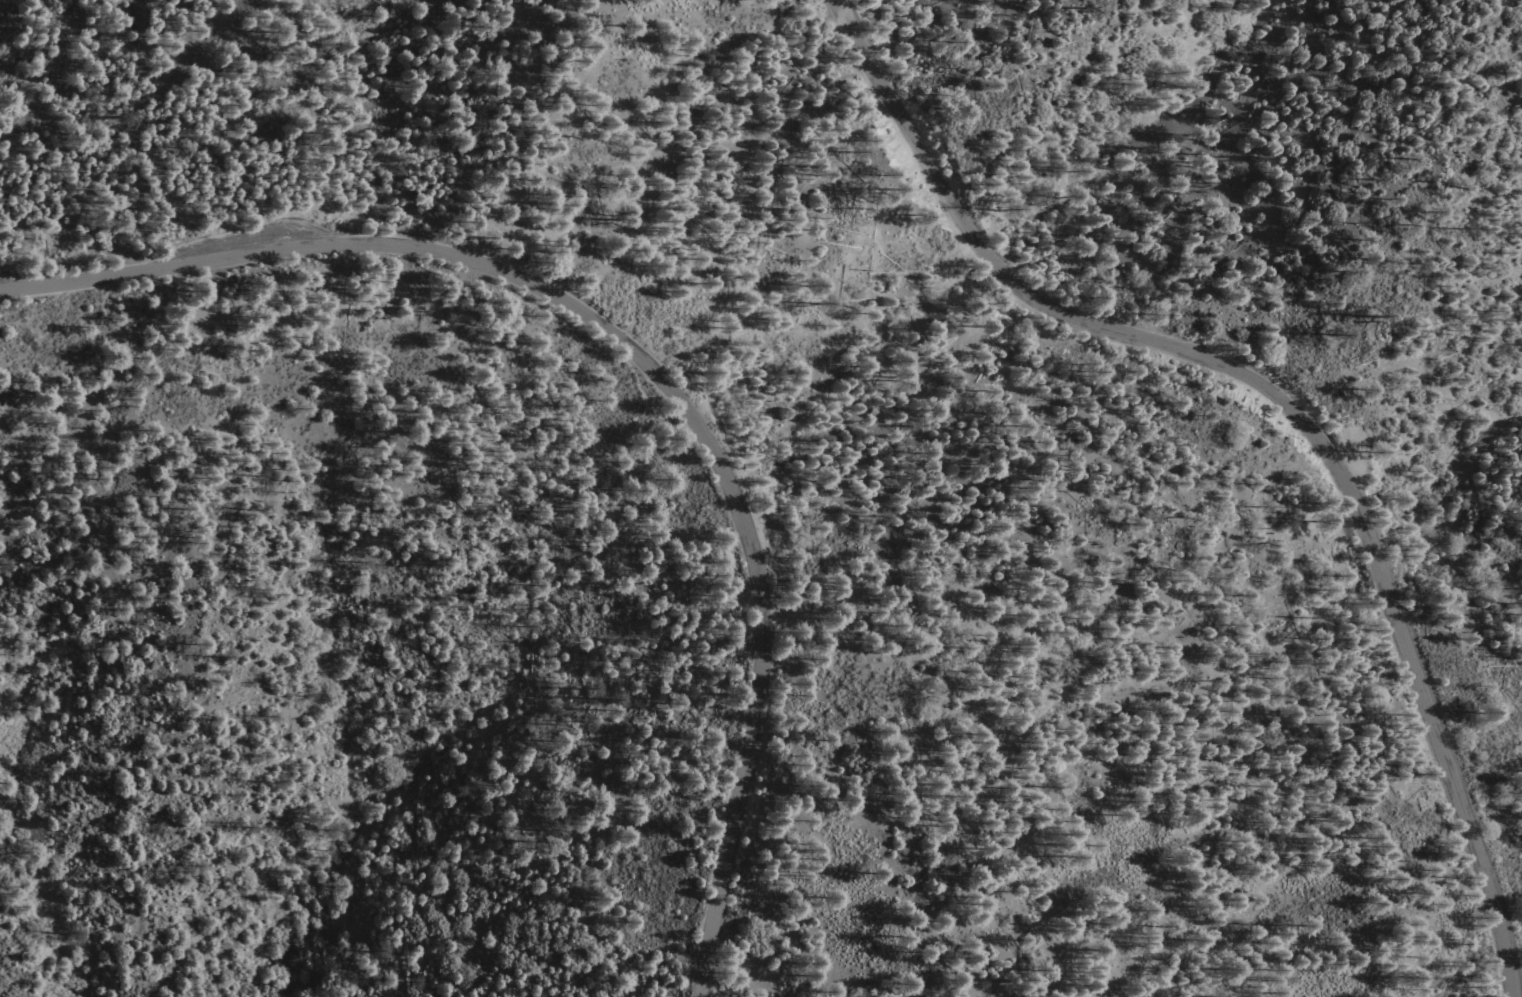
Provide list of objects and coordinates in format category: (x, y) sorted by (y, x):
road: (643, 359)
road: (1291, 403)

